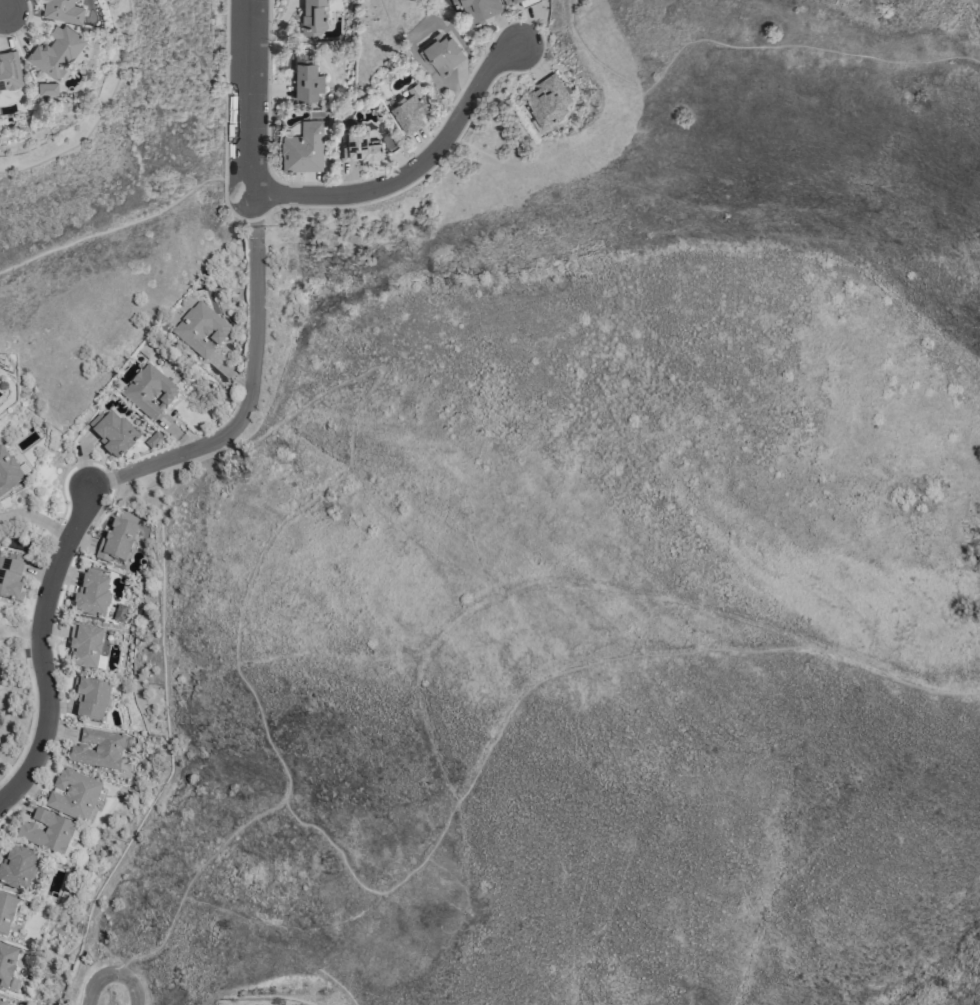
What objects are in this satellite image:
building: (508, 1)
road: (2, 5)
building: (478, 9)
building: (62, 11)
building: (314, 16)
road: (695, 43)
building: (56, 52)
building: (443, 53)
building: (9, 72)
building: (305, 77)
building: (47, 89)
road: (250, 97)
building: (548, 99)
building: (410, 110)
building: (359, 148)
building: (304, 149)
road: (418, 167)
road: (251, 209)
road: (128, 223)
building: (200, 329)
building: (149, 391)
road: (245, 406)
building: (111, 433)
building: (8, 473)
road: (35, 519)
building: (115, 542)
building: (10, 577)
building: (91, 595)
road: (245, 597)
building: (84, 646)
road: (40, 647)
road: (528, 691)
building: (90, 698)
building: (97, 748)
building: (72, 794)
building: (46, 831)
building: (16, 867)
building: (6, 913)
building: (6, 963)
road: (112, 974)
building: (12, 984)
building: (2, 1001)

